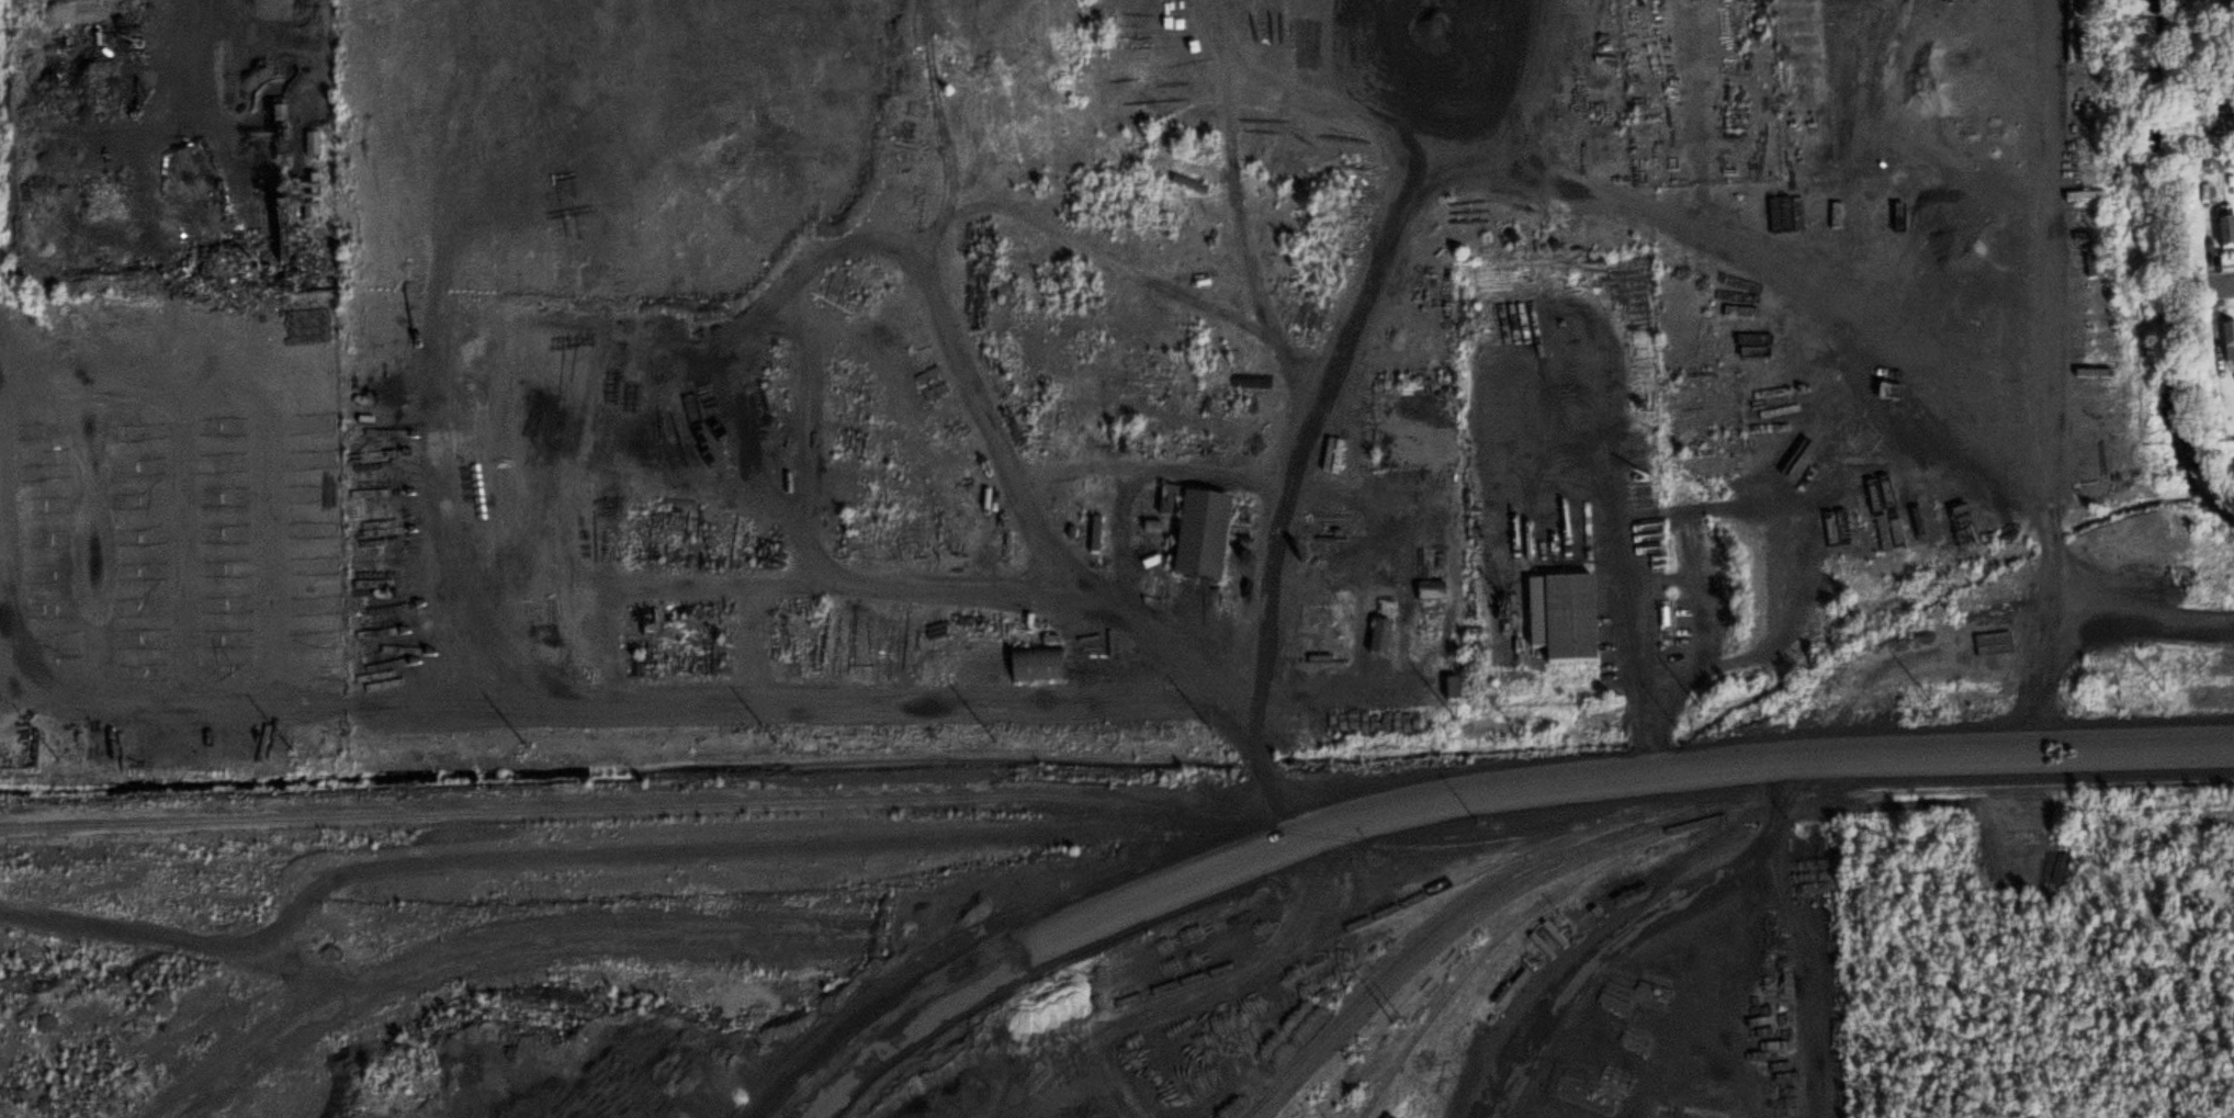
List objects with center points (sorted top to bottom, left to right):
park: (2204, 12)

